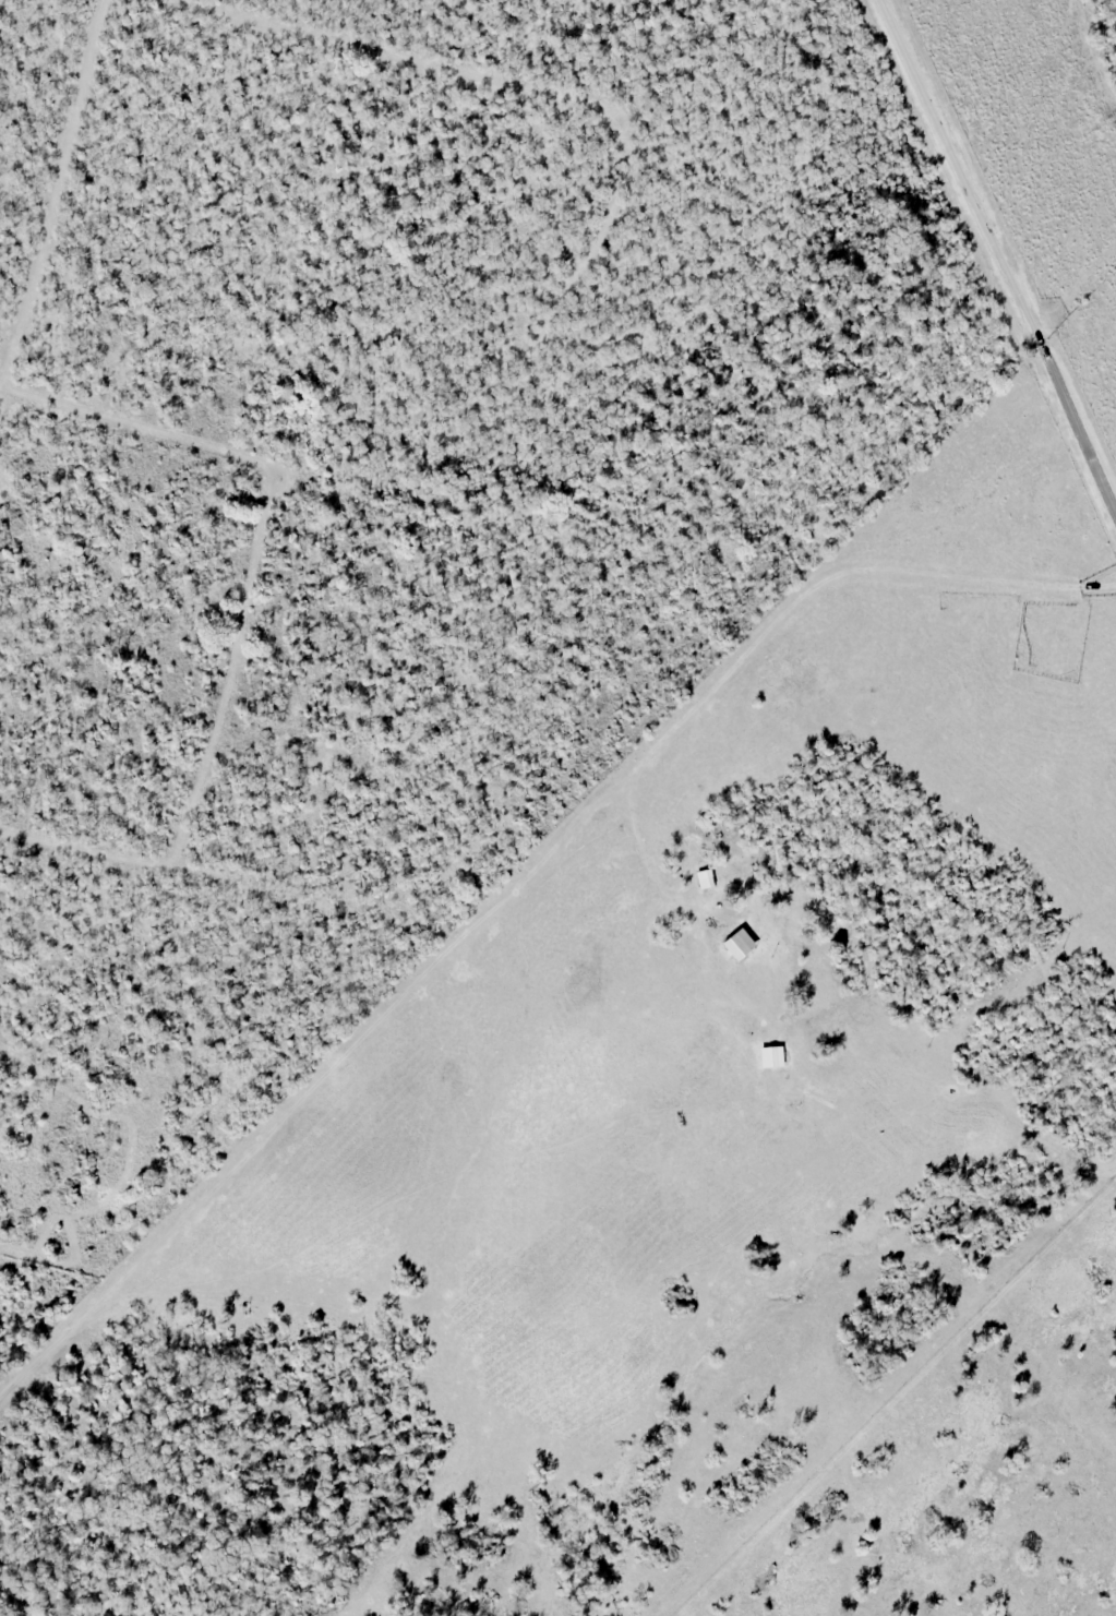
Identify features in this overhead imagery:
road: (1000, 250)
building: (705, 884)
building: (725, 938)
building: (773, 1056)

